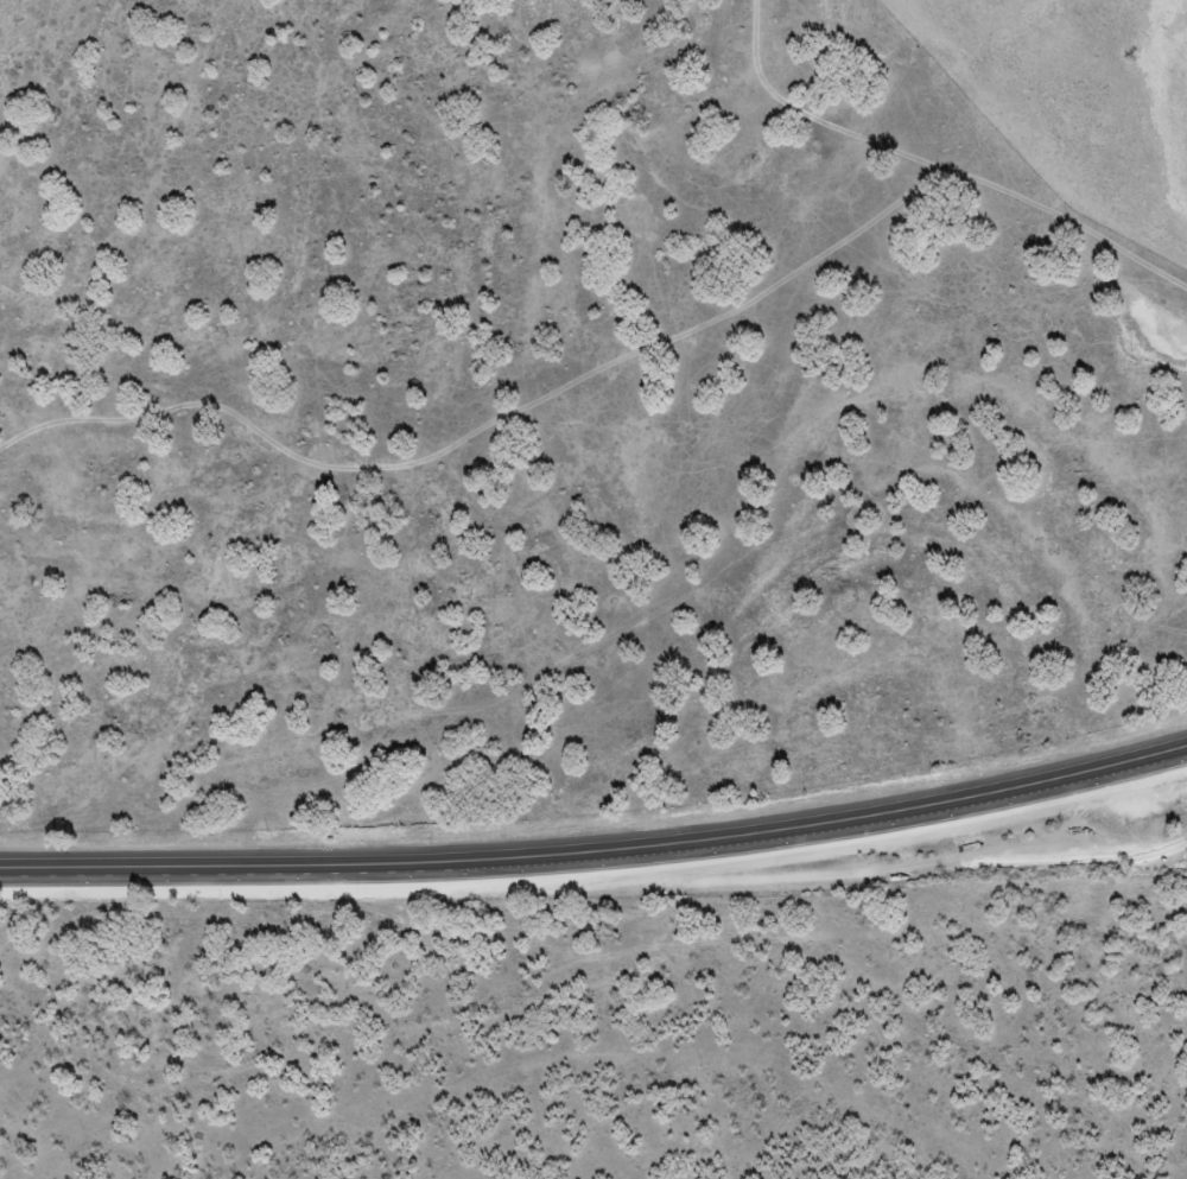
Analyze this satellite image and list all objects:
road: (597, 845)

